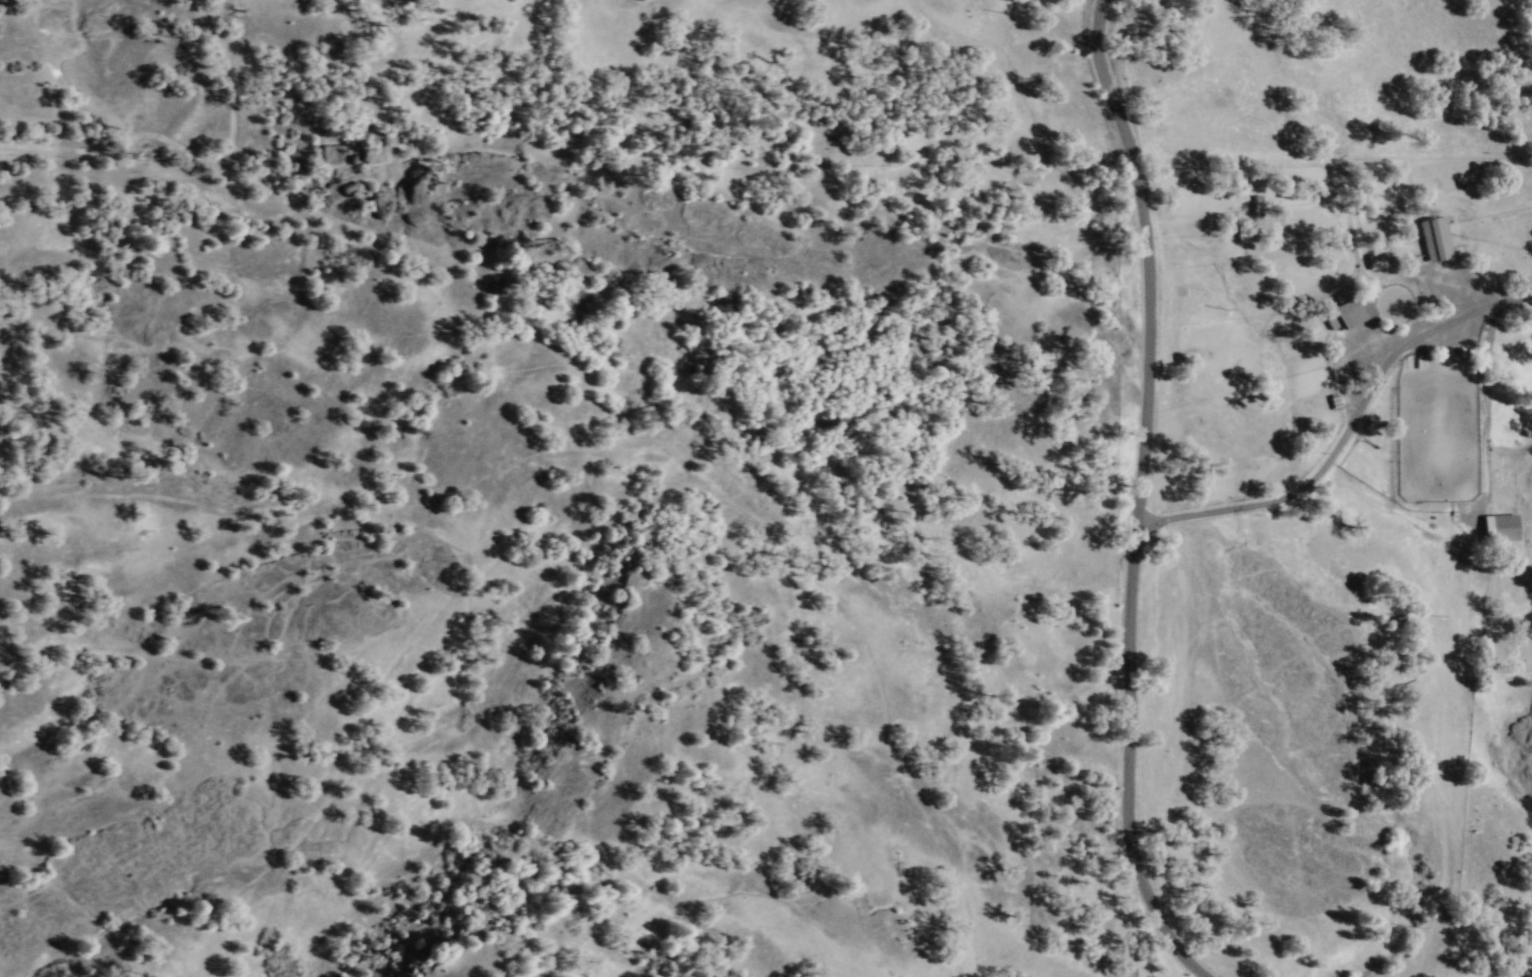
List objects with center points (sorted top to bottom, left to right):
road: (189, 149)
road: (1345, 183)
building: (1256, 203)
building: (1434, 236)
road: (1147, 258)
building: (1375, 259)
road: (1519, 292)
road: (1519, 303)
building: (1353, 308)
road: (1484, 410)
park: (1436, 428)
road: (1338, 439)
building: (1499, 526)
road: (1135, 762)

